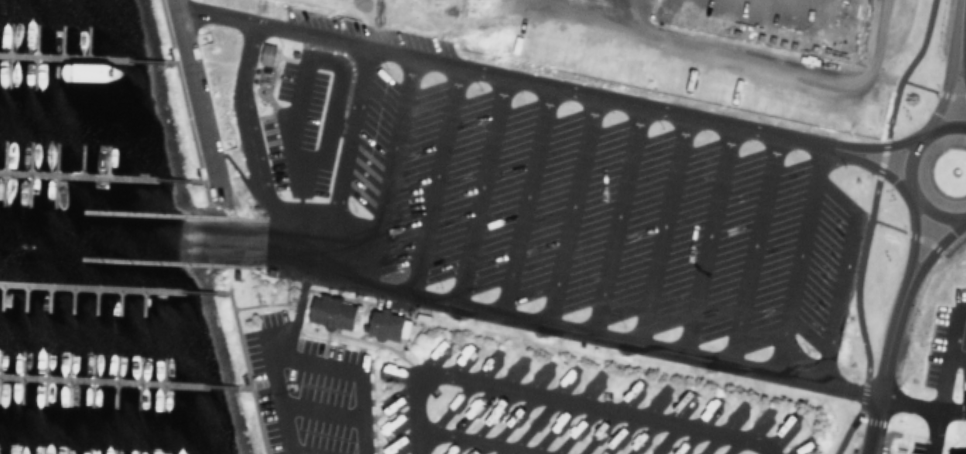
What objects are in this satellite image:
road: (957, 26)
building: (260, 53)
pier: (61, 57)
road: (147, 60)
road: (961, 68)
road: (772, 70)
road: (500, 74)
road: (931, 89)
road: (945, 90)
road: (195, 95)
road: (181, 99)
road: (291, 108)
road: (956, 122)
road: (875, 145)
road: (341, 156)
road: (871, 164)
road: (383, 166)
pier: (74, 174)
road: (432, 177)
road: (907, 178)
road: (174, 180)
road: (478, 187)
road: (522, 197)
parking lot: (540, 201)
road: (568, 206)
pier: (150, 213)
road: (611, 216)
road: (965, 216)
road: (178, 226)
road: (865, 226)
road: (659, 227)
road: (704, 236)
road: (912, 236)
road: (179, 239)
road: (921, 239)
road: (933, 245)
road: (751, 247)
road: (182, 252)
road: (797, 257)
pier: (151, 261)
road: (839, 270)
pier: (87, 287)
road: (201, 291)
road: (461, 300)
building: (324, 311)
road: (956, 356)
road: (240, 359)
road: (310, 360)
parking lot: (943, 362)
road: (882, 365)
road: (942, 377)
pier: (99, 381)
road: (221, 386)
parking lot: (303, 388)
road: (554, 399)
road: (278, 401)
road: (920, 407)
road: (318, 409)
road: (917, 431)
road: (472, 441)
parking lot: (921, 447)
road: (297, 452)

